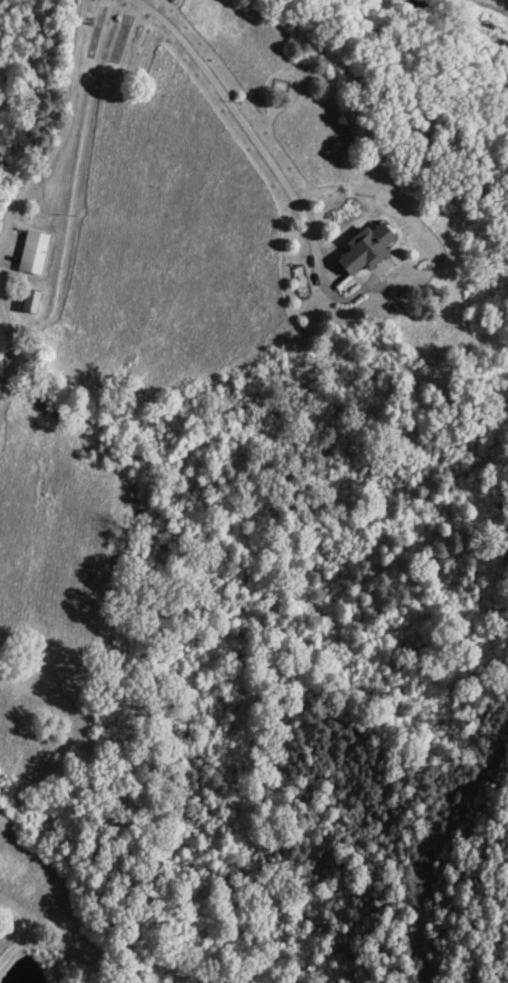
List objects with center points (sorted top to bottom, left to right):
road: (505, 0)
road: (69, 126)
road: (273, 164)
building: (365, 249)
building: (32, 253)
building: (29, 302)

